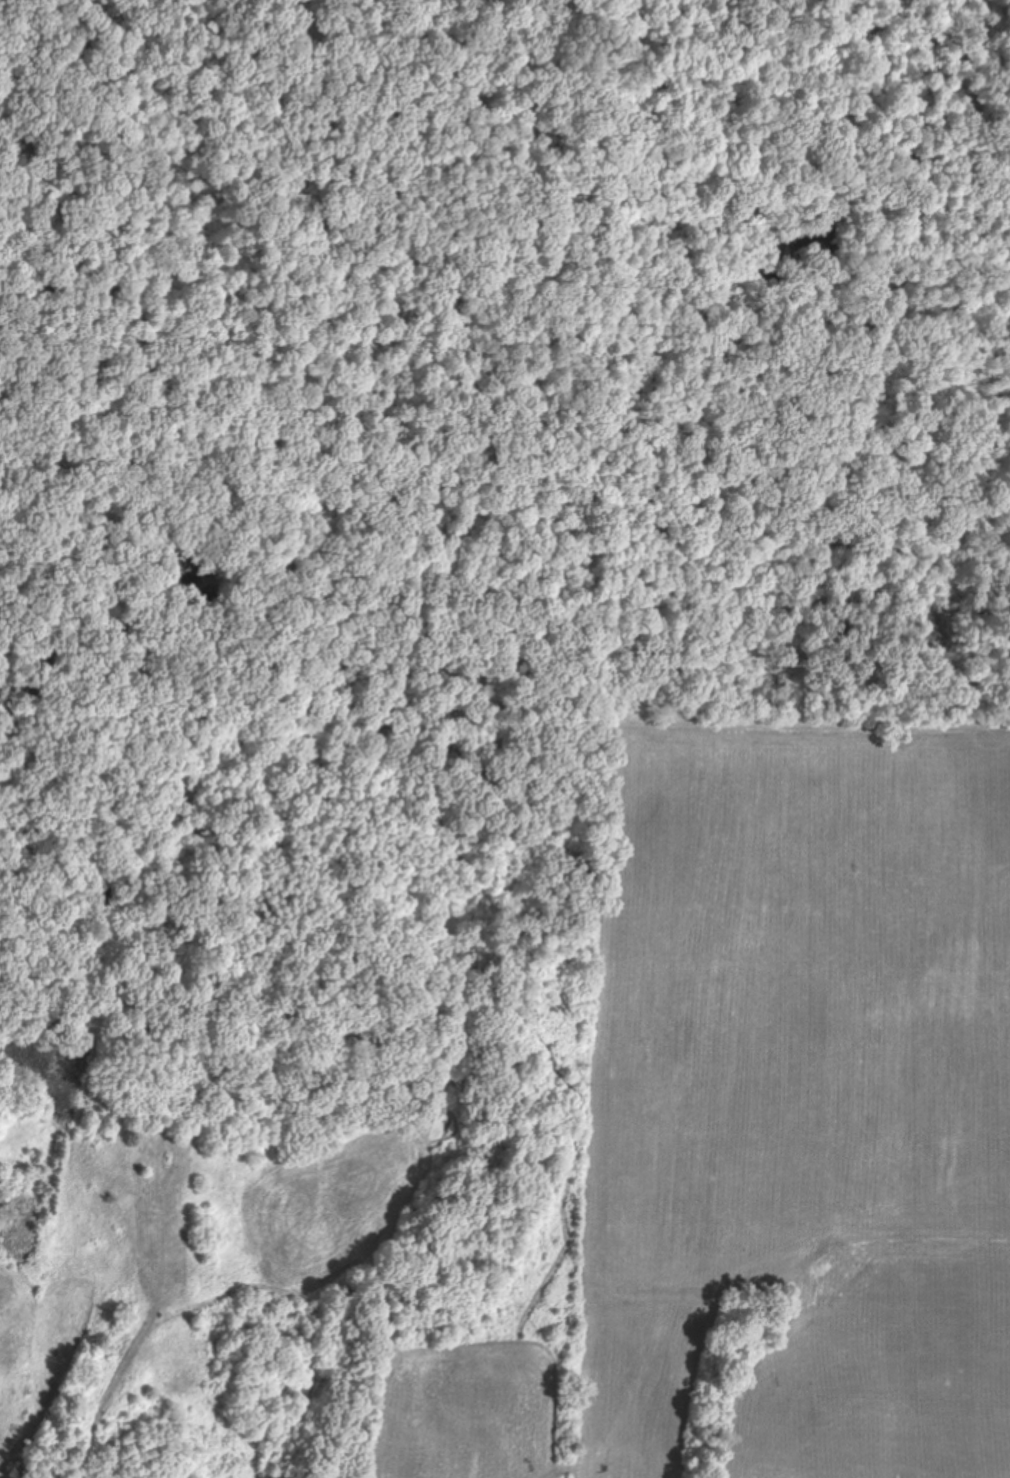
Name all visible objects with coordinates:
crop: (797, 1094)

